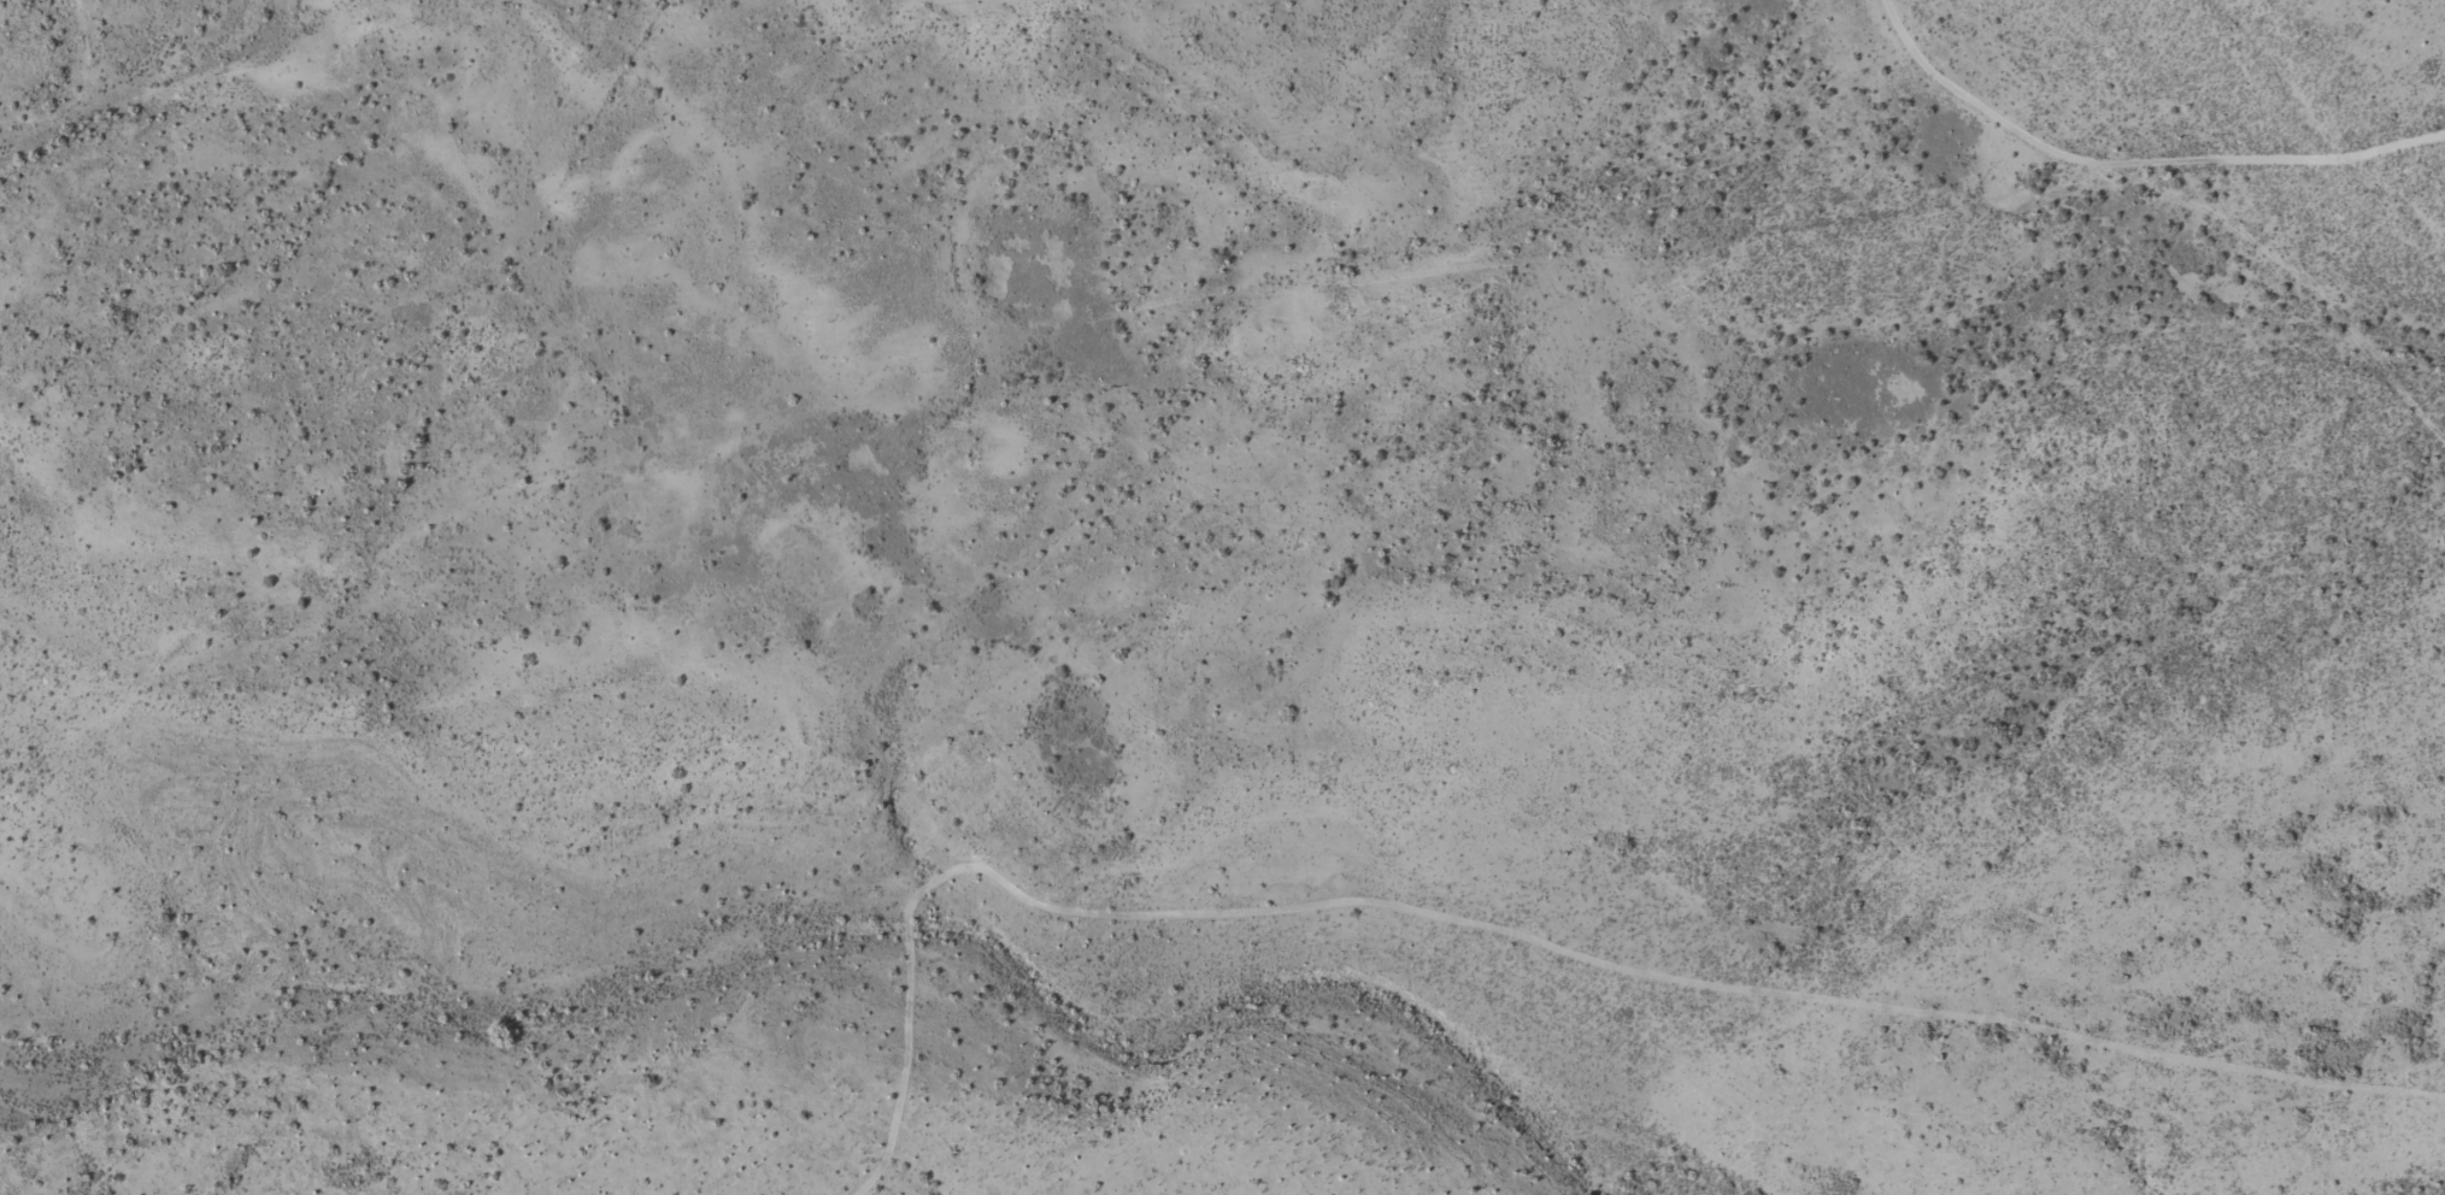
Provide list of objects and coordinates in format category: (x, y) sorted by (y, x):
road: (2173, 67)

